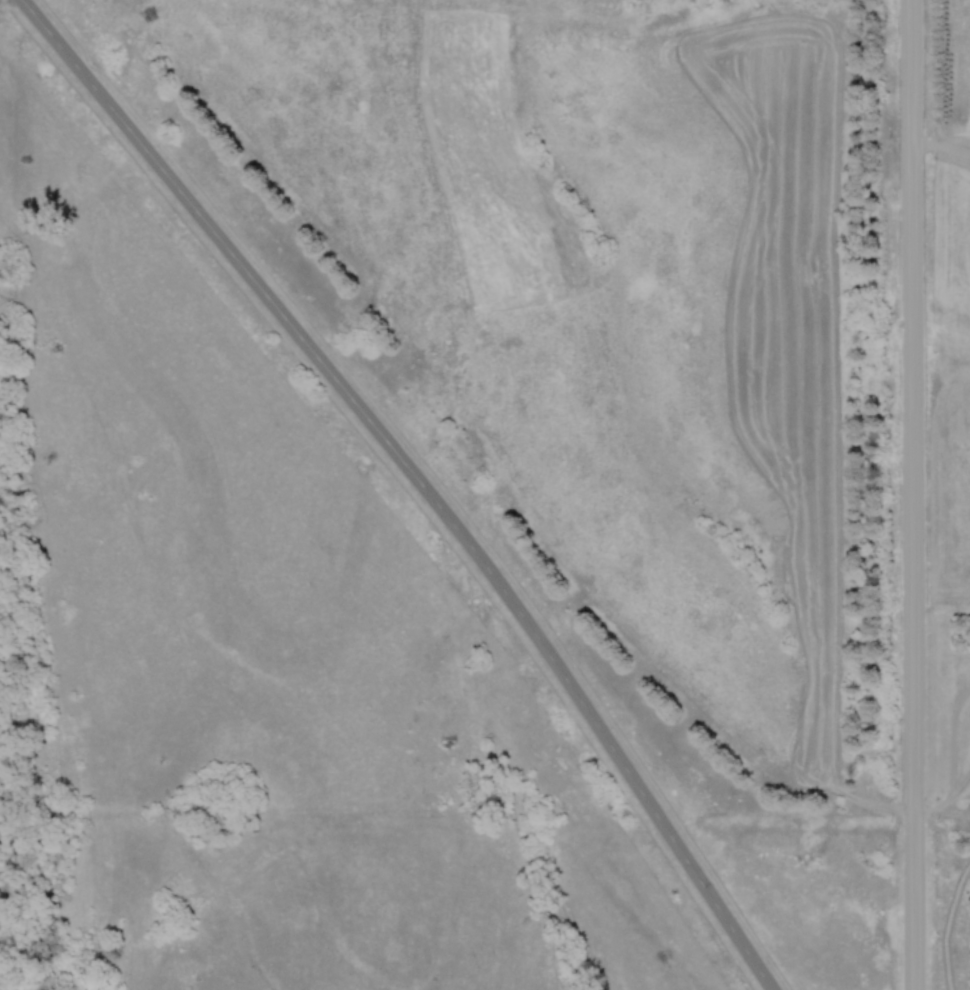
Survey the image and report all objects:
road: (942, 146)
road: (914, 416)
road: (419, 480)
road: (916, 911)

